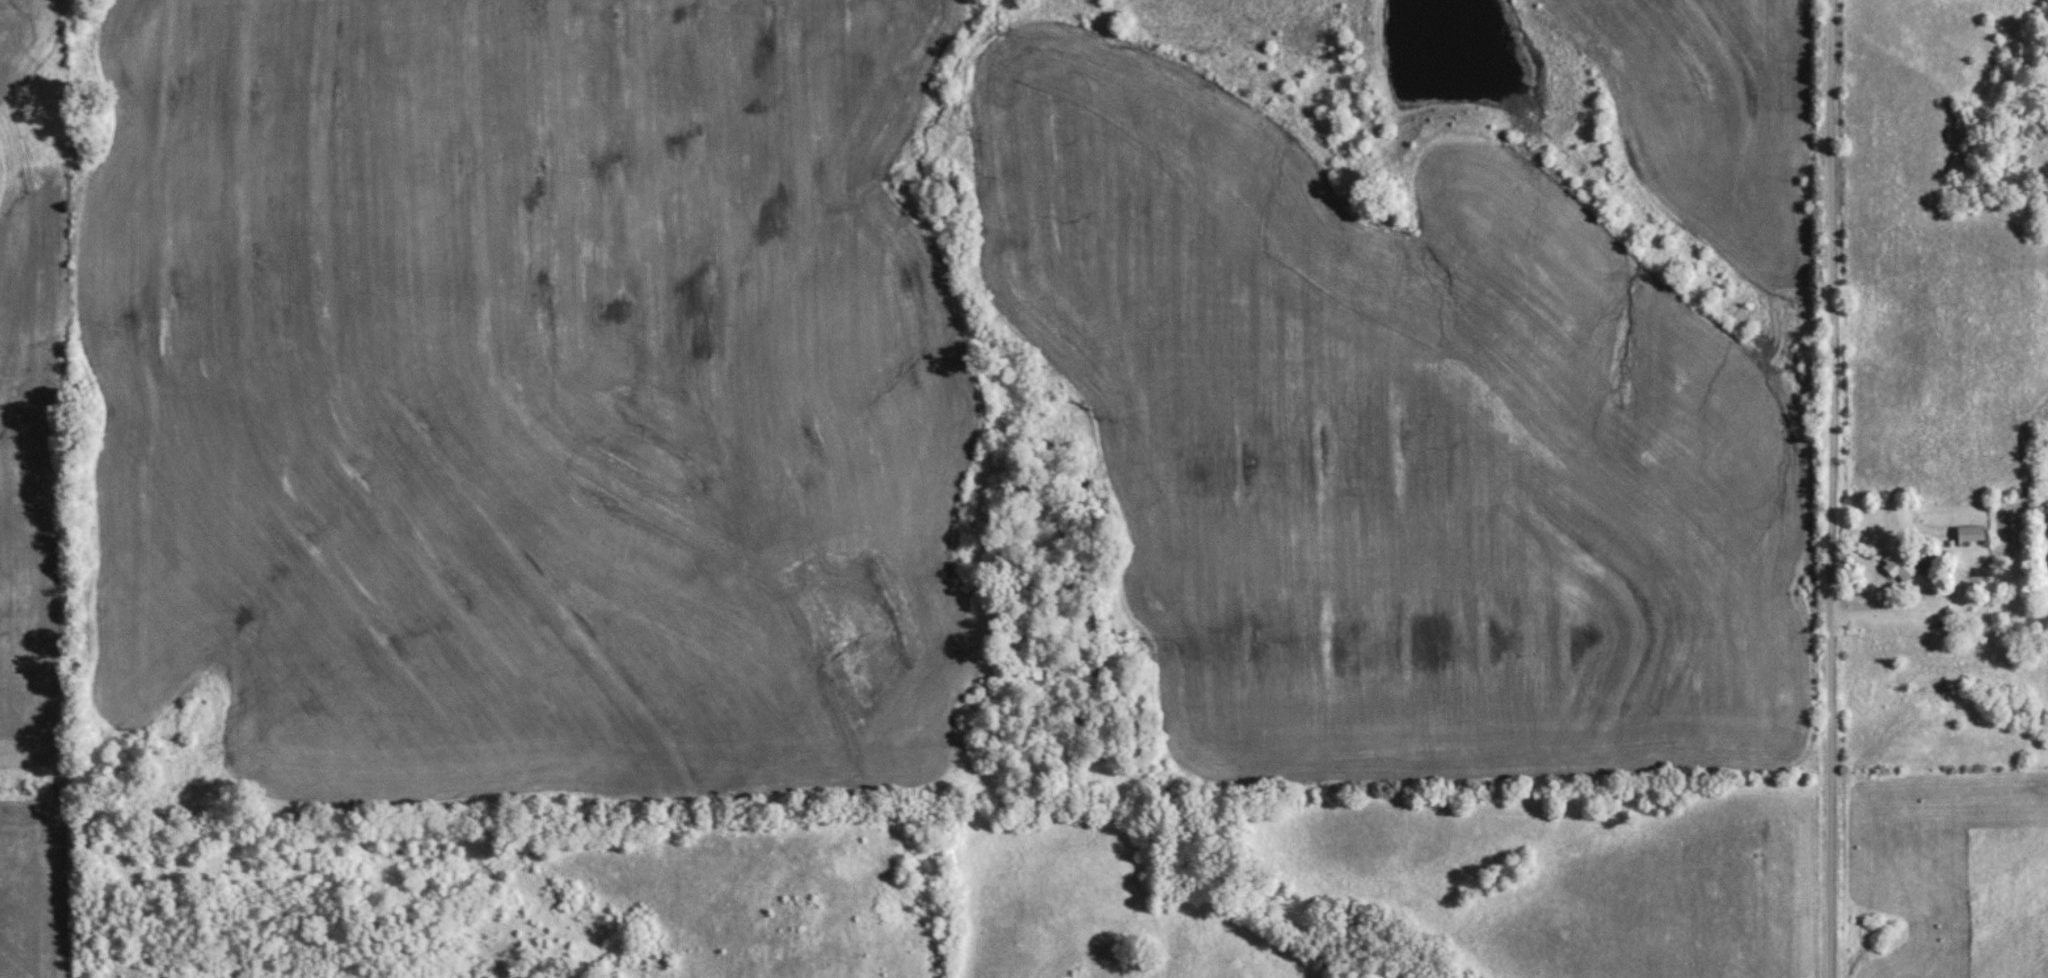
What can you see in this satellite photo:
road: (1832, 488)
building: (1973, 535)
building: (1898, 562)
building: (1930, 564)

